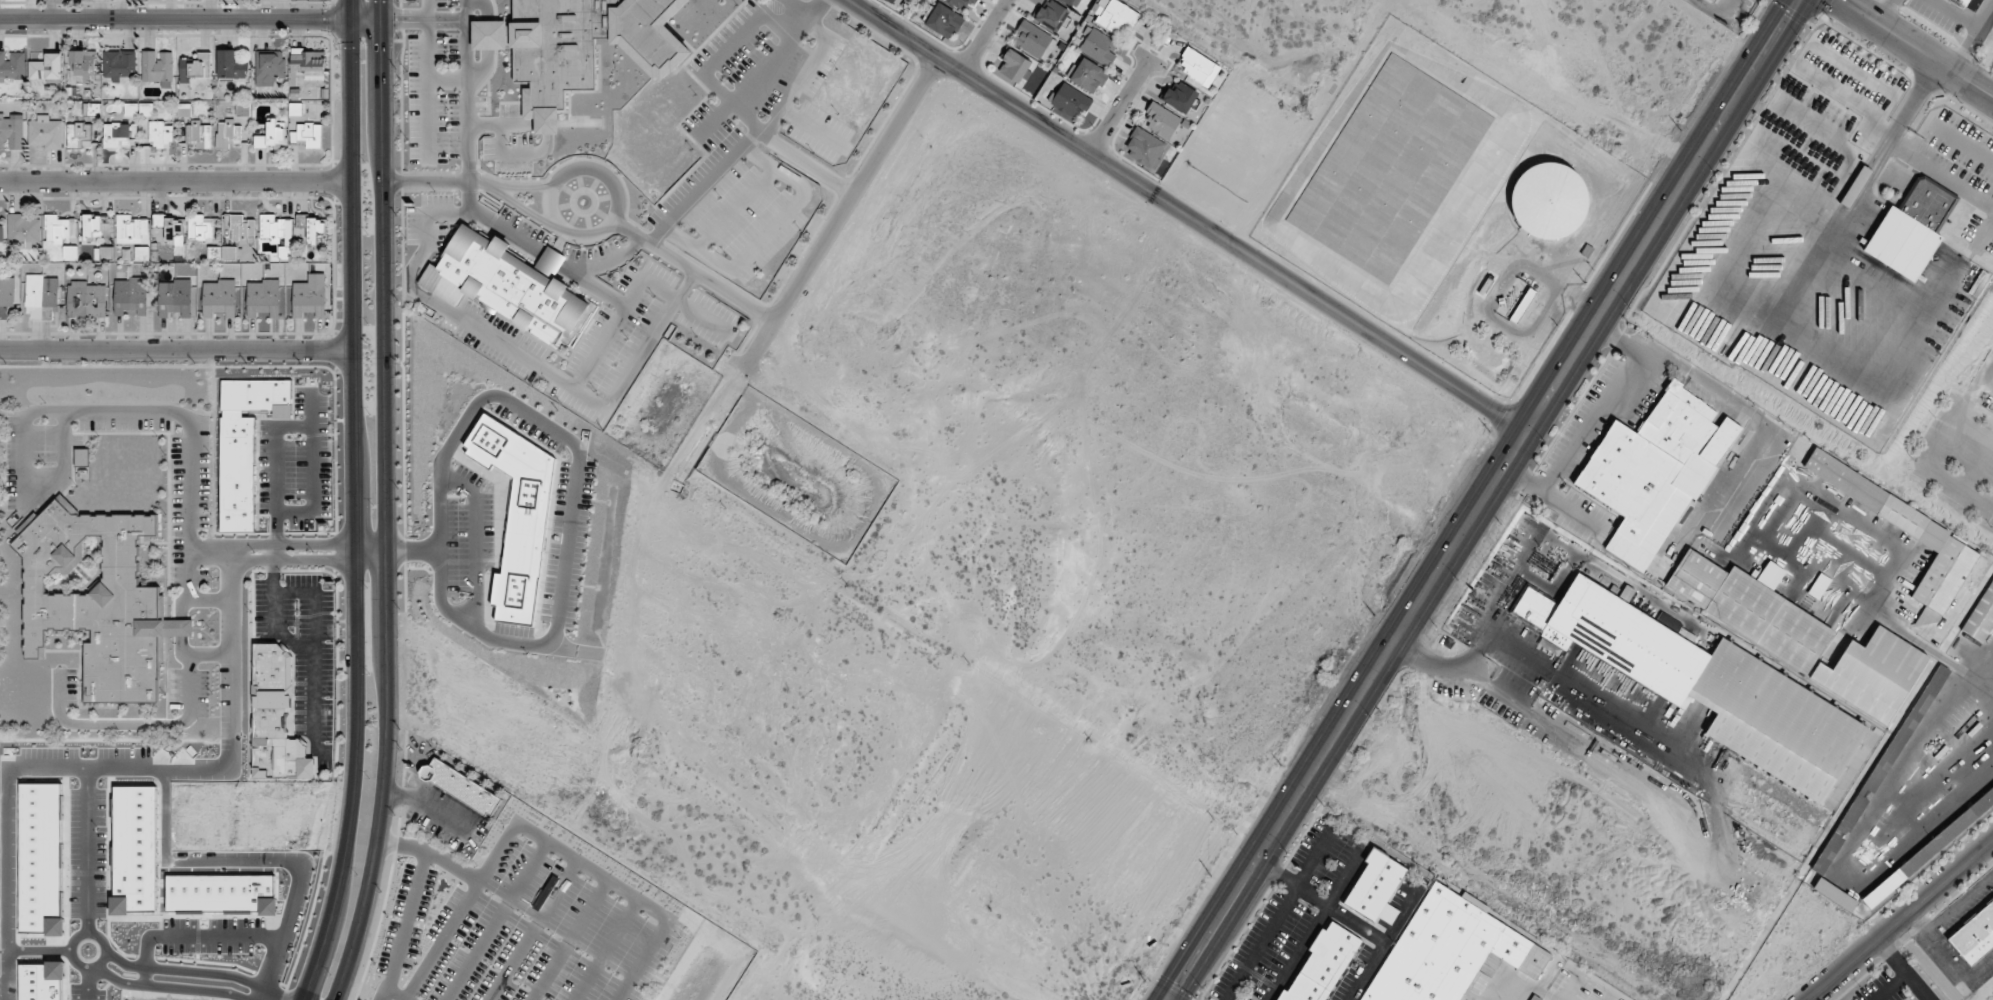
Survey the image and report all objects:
building: (893, 1)
building: (1709, 1)
building: (1713, 1)
building: (960, 2)
parking lot: (446, 3)
building: (1071, 3)
building: (1959, 3)
road: (795, 6)
road: (1880, 10)
building: (1053, 16)
building: (1116, 17)
road: (423, 18)
road: (190, 19)
traffic signals: (323, 19)
traffic signals: (403, 19)
building: (943, 22)
road: (814, 29)
road: (982, 36)
road: (1974, 37)
building: (1033, 41)
building: (578, 46)
building: (1099, 47)
road: (1916, 47)
traffic signals: (381, 48)
road: (776, 53)
building: (307, 61)
road: (487, 63)
building: (83, 64)
building: (119, 65)
building: (12, 66)
building: (231, 66)
building: (270, 66)
building: (1013, 67)
building: (46, 68)
building: (157, 68)
building: (1198, 68)
building: (196, 69)
building: (1088, 76)
road: (428, 82)
road: (795, 86)
parking lot: (434, 98)
building: (1181, 98)
building: (1071, 101)
parking lot: (481, 104)
road: (1120, 104)
road: (467, 105)
parking lot: (511, 110)
road: (713, 120)
building: (1161, 123)
road: (507, 124)
road: (816, 129)
power tower: (1679, 131)
building: (45, 132)
building: (11, 133)
building: (1379, 133)
building: (159, 134)
building: (228, 134)
building: (78, 135)
building: (197, 135)
building: (272, 135)
building: (115, 136)
building: (307, 137)
road: (771, 140)
parking lot: (823, 143)
road: (1965, 143)
building: (1144, 149)
road: (1897, 150)
parking lot: (511, 154)
road: (520, 155)
road: (612, 179)
road: (176, 180)
road: (475, 183)
road: (704, 186)
building: (1854, 186)
road: (518, 188)
silo: (1548, 200)
building: (1549, 201)
road: (838, 216)
road: (1186, 216)
parking lot: (429, 221)
building: (92, 228)
building: (202, 228)
building: (524, 228)
building: (1910, 228)
building: (23, 229)
building: (57, 229)
building: (170, 229)
building: (242, 229)
building: (314, 229)
building: (131, 230)
building: (278, 232)
parking lot: (595, 252)
building: (69, 254)
building: (212, 254)
building: (103, 255)
road: (547, 256)
road: (608, 263)
road: (694, 271)
building: (506, 284)
power tower: (1583, 284)
road: (636, 286)
building: (6, 294)
building: (129, 295)
building: (41, 297)
building: (174, 298)
building: (263, 298)
building: (219, 299)
building: (308, 299)
building: (86, 300)
building: (1522, 306)
parking lot: (596, 341)
road: (177, 350)
road: (526, 360)
road: (1704, 380)
road: (1590, 421)
power tower: (1489, 432)
road: (189, 439)
road: (1941, 443)
building: (237, 449)
building: (81, 458)
road: (1523, 477)
road: (574, 478)
parking lot: (289, 482)
road: (272, 489)
road: (1483, 500)
road: (28, 503)
road: (355, 503)
road: (385, 503)
building: (1891, 510)
building: (510, 522)
building: (1853, 538)
road: (293, 544)
road: (370, 547)
road: (211, 552)
road: (294, 560)
building: (1837, 563)
building: (1770, 575)
road: (1497, 586)
road: (272, 589)
road: (211, 600)
building: (97, 601)
building: (1750, 610)
building: (1980, 615)
power tower: (1372, 617)
road: (180, 628)
road: (291, 641)
road: (212, 654)
road: (315, 658)
road: (1539, 666)
building: (1872, 673)
building: (1704, 684)
building: (274, 718)
road: (140, 725)
road: (234, 740)
power tower: (1279, 765)
building: (1880, 768)
building: (460, 787)
road: (429, 803)
road: (517, 829)
building: (127, 836)
road: (403, 846)
building: (1928, 849)
road: (5, 850)
building: (33, 863)
road: (254, 868)
power tower: (1210, 876)
building: (1374, 888)
road: (82, 890)
building: (1833, 894)
road: (1900, 920)
building: (1974, 935)
road: (190, 944)
building: (1447, 951)
building: (1321, 964)
road: (1902, 970)
power tower: (1144, 980)
road: (161, 985)
building: (29, 986)
road: (1890, 987)
road: (385, 994)
road: (397, 994)
building: (1535, 998)

